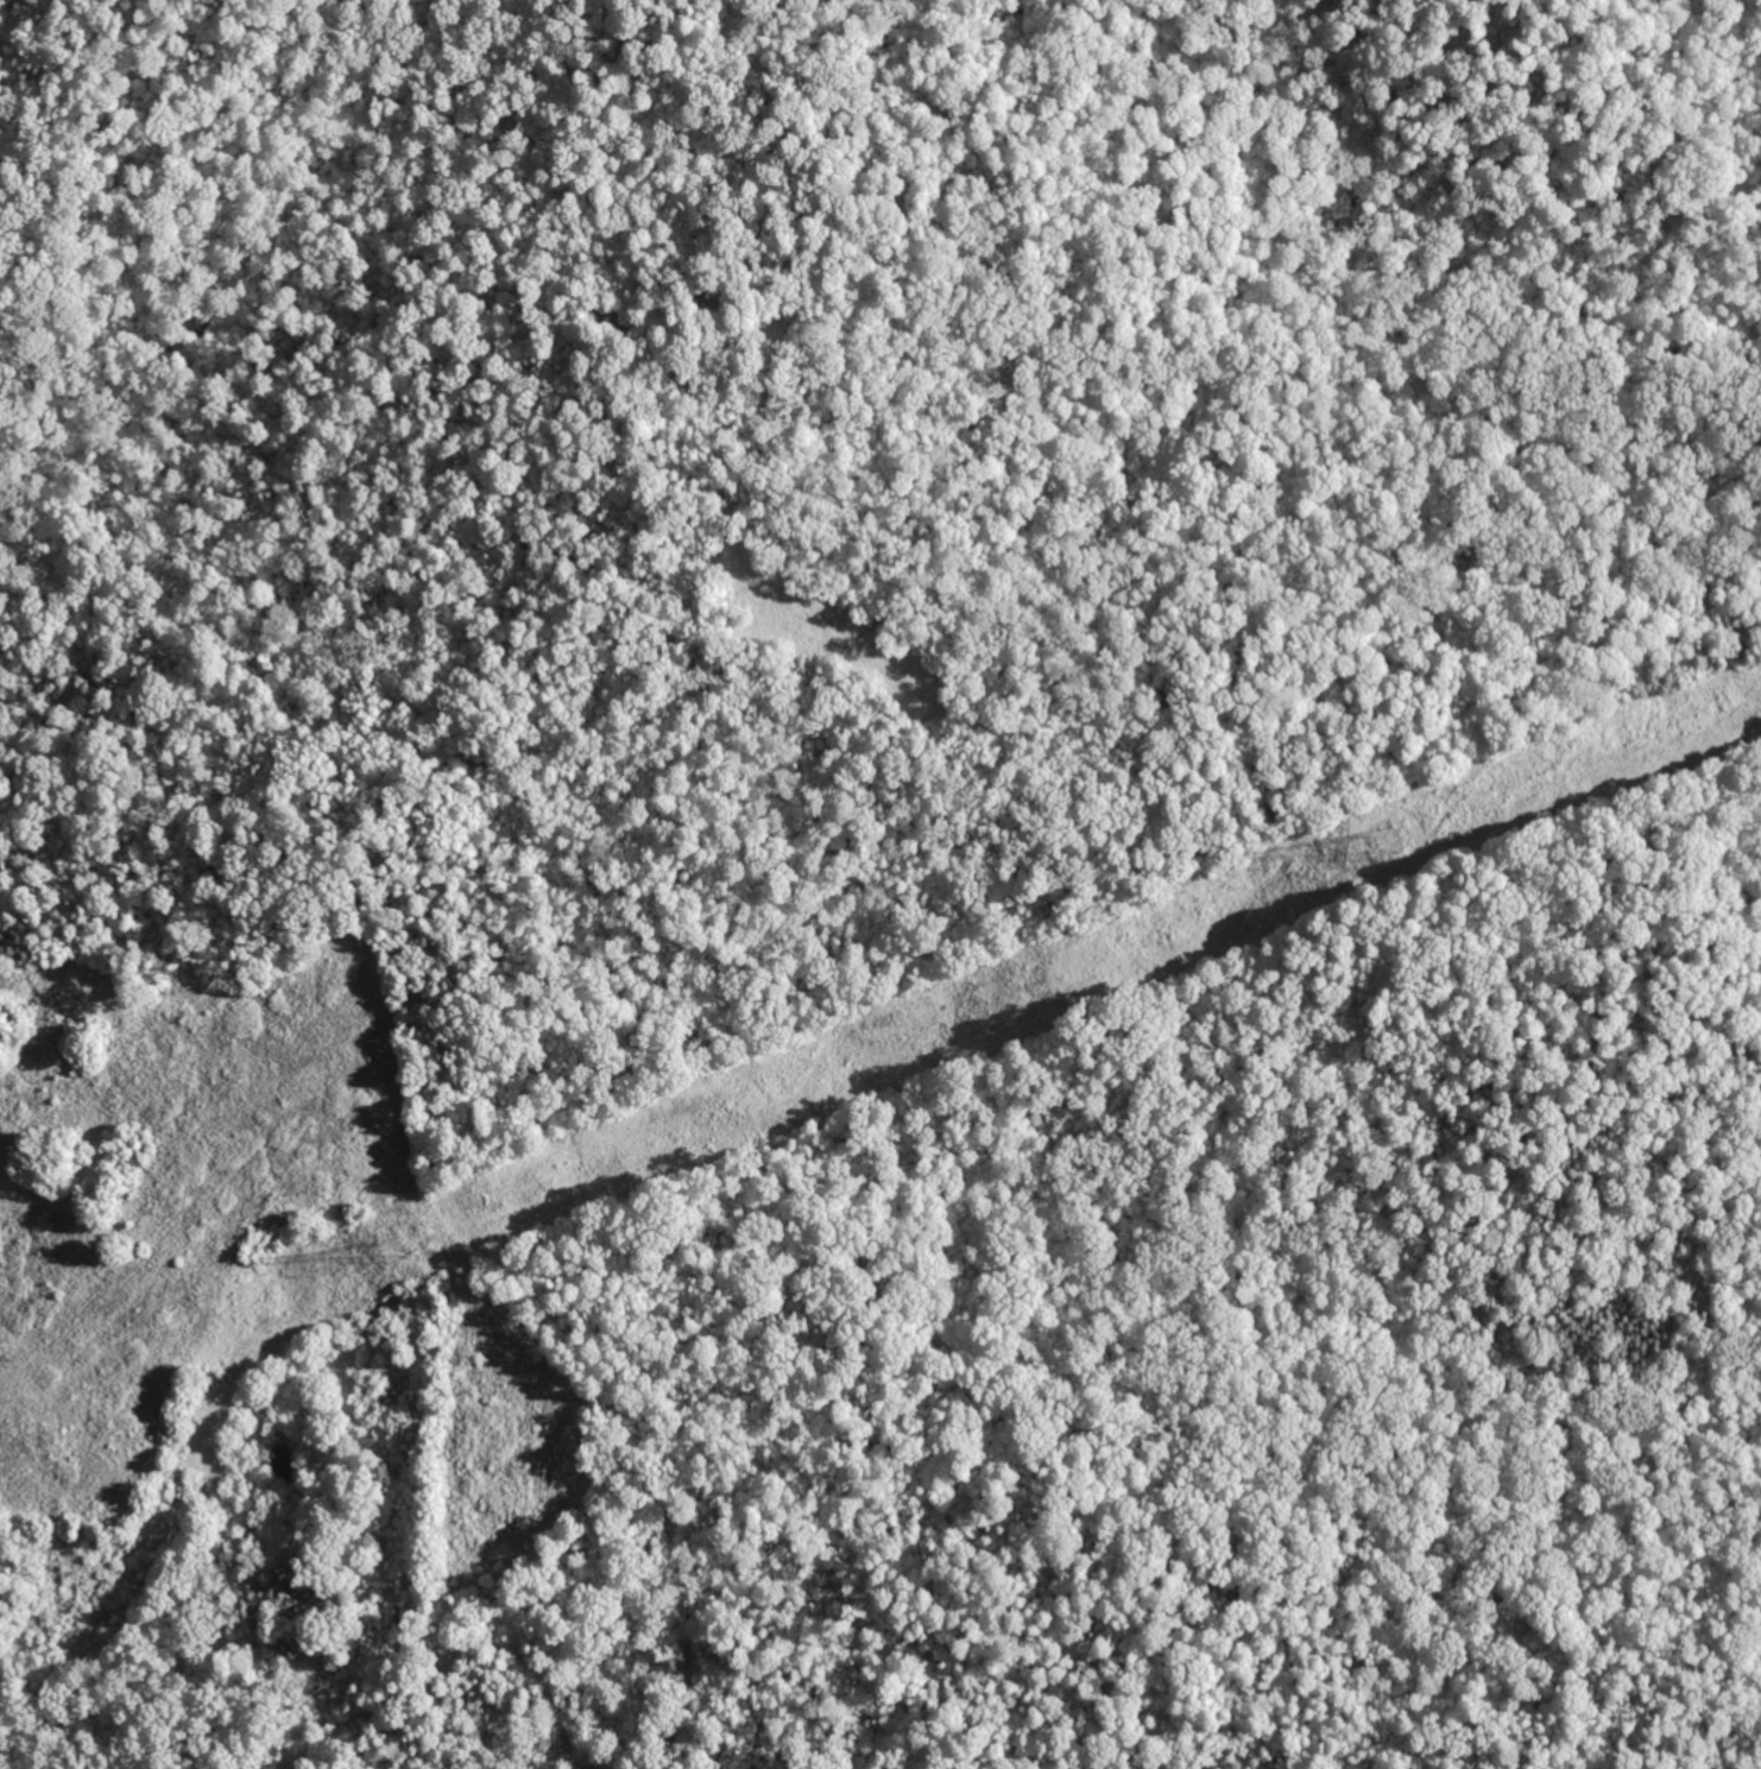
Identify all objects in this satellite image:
power tower: (1387, 845)
power tower: (392, 1252)

